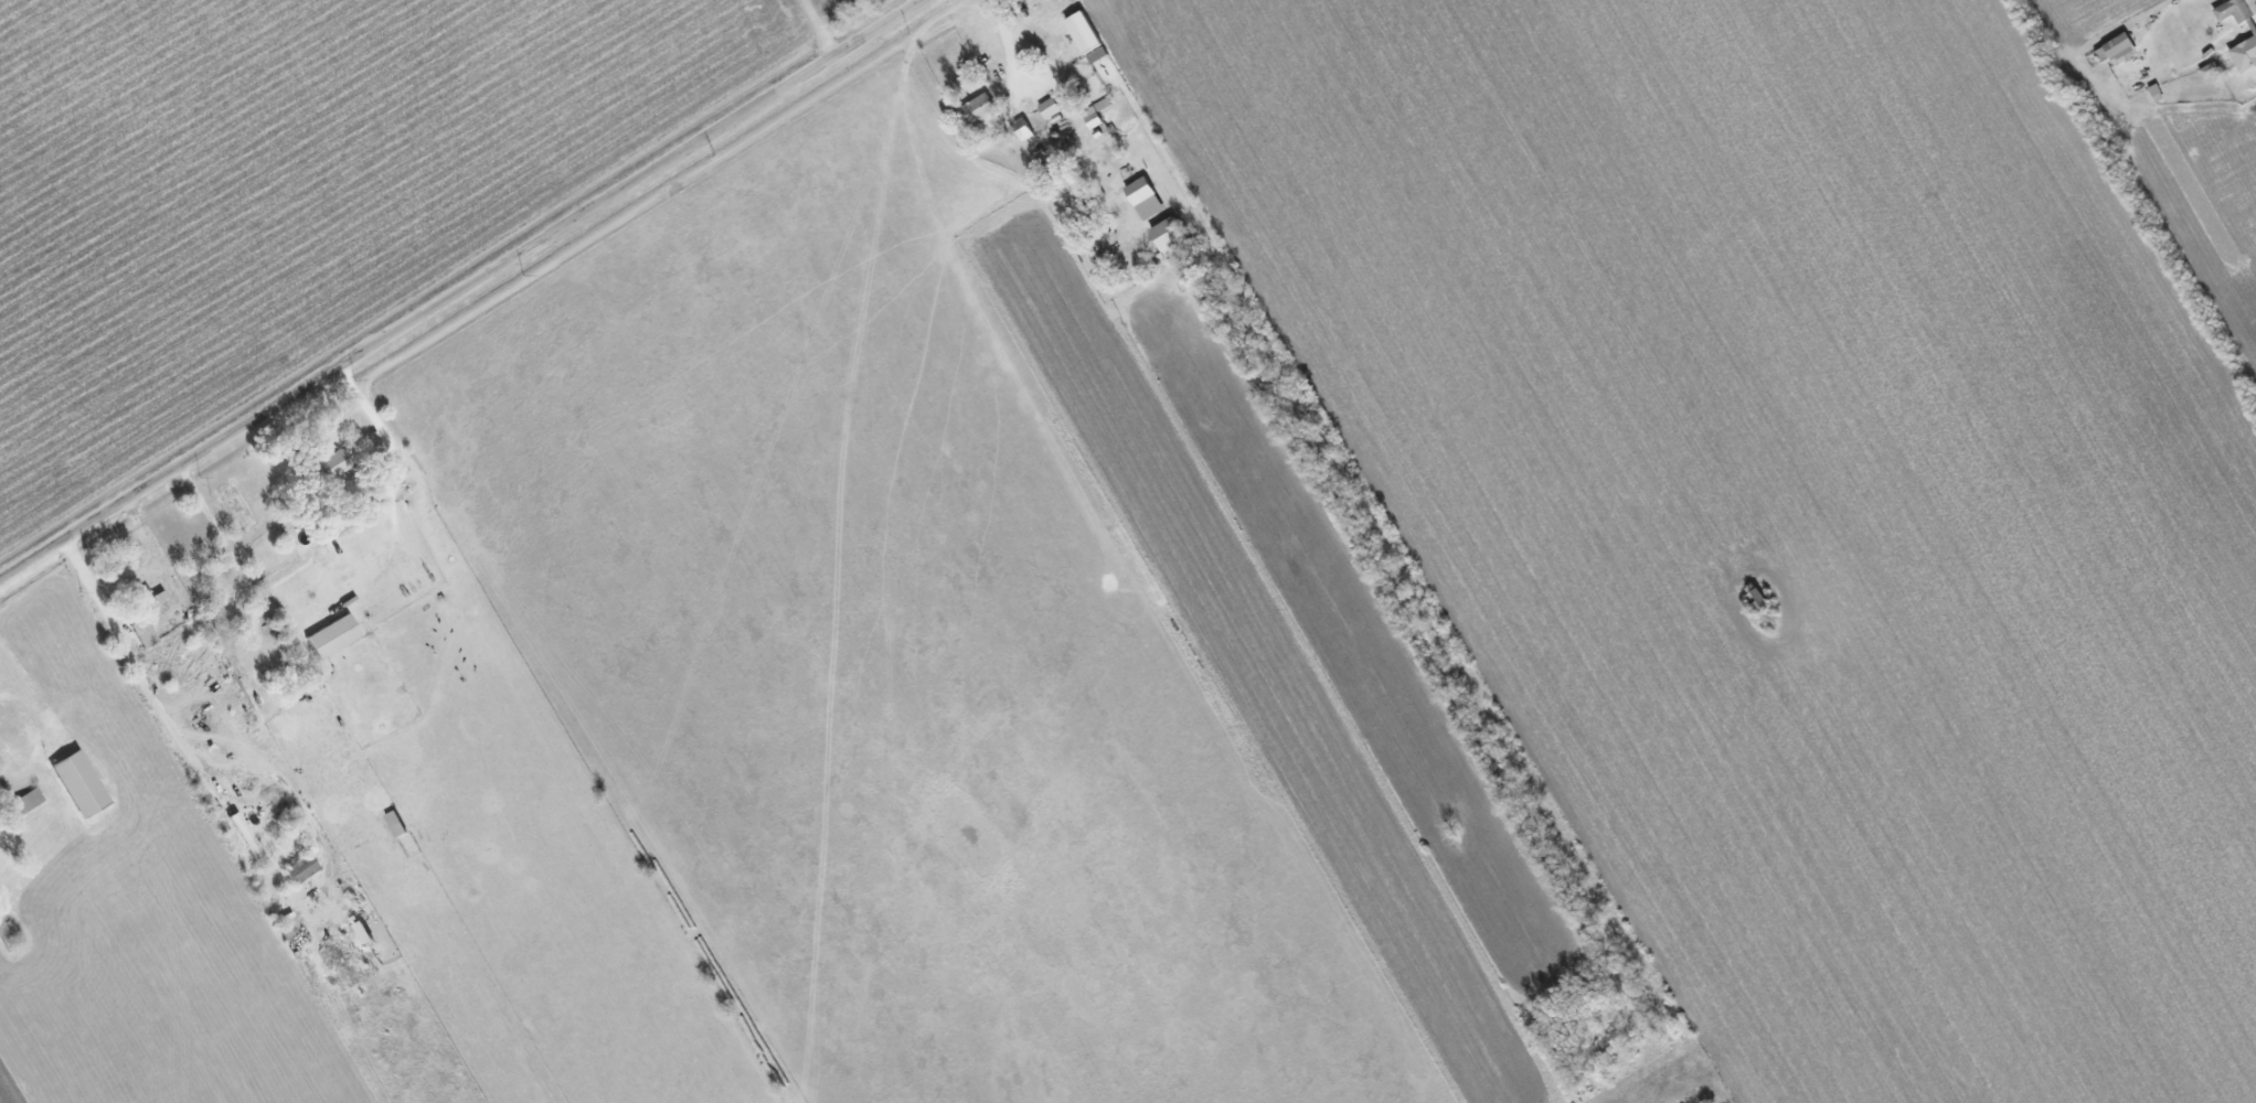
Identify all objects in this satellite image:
building: (2237, 10)
building: (1089, 38)
building: (2118, 49)
road: (1008, 52)
building: (2245, 54)
building: (1051, 108)
building: (1147, 199)
building: (1171, 235)
road: (462, 290)
building: (324, 470)
road: (231, 556)
building: (334, 635)
road: (141, 682)
building: (81, 783)
building: (26, 801)
building: (246, 834)
building: (1, 844)
building: (301, 868)

